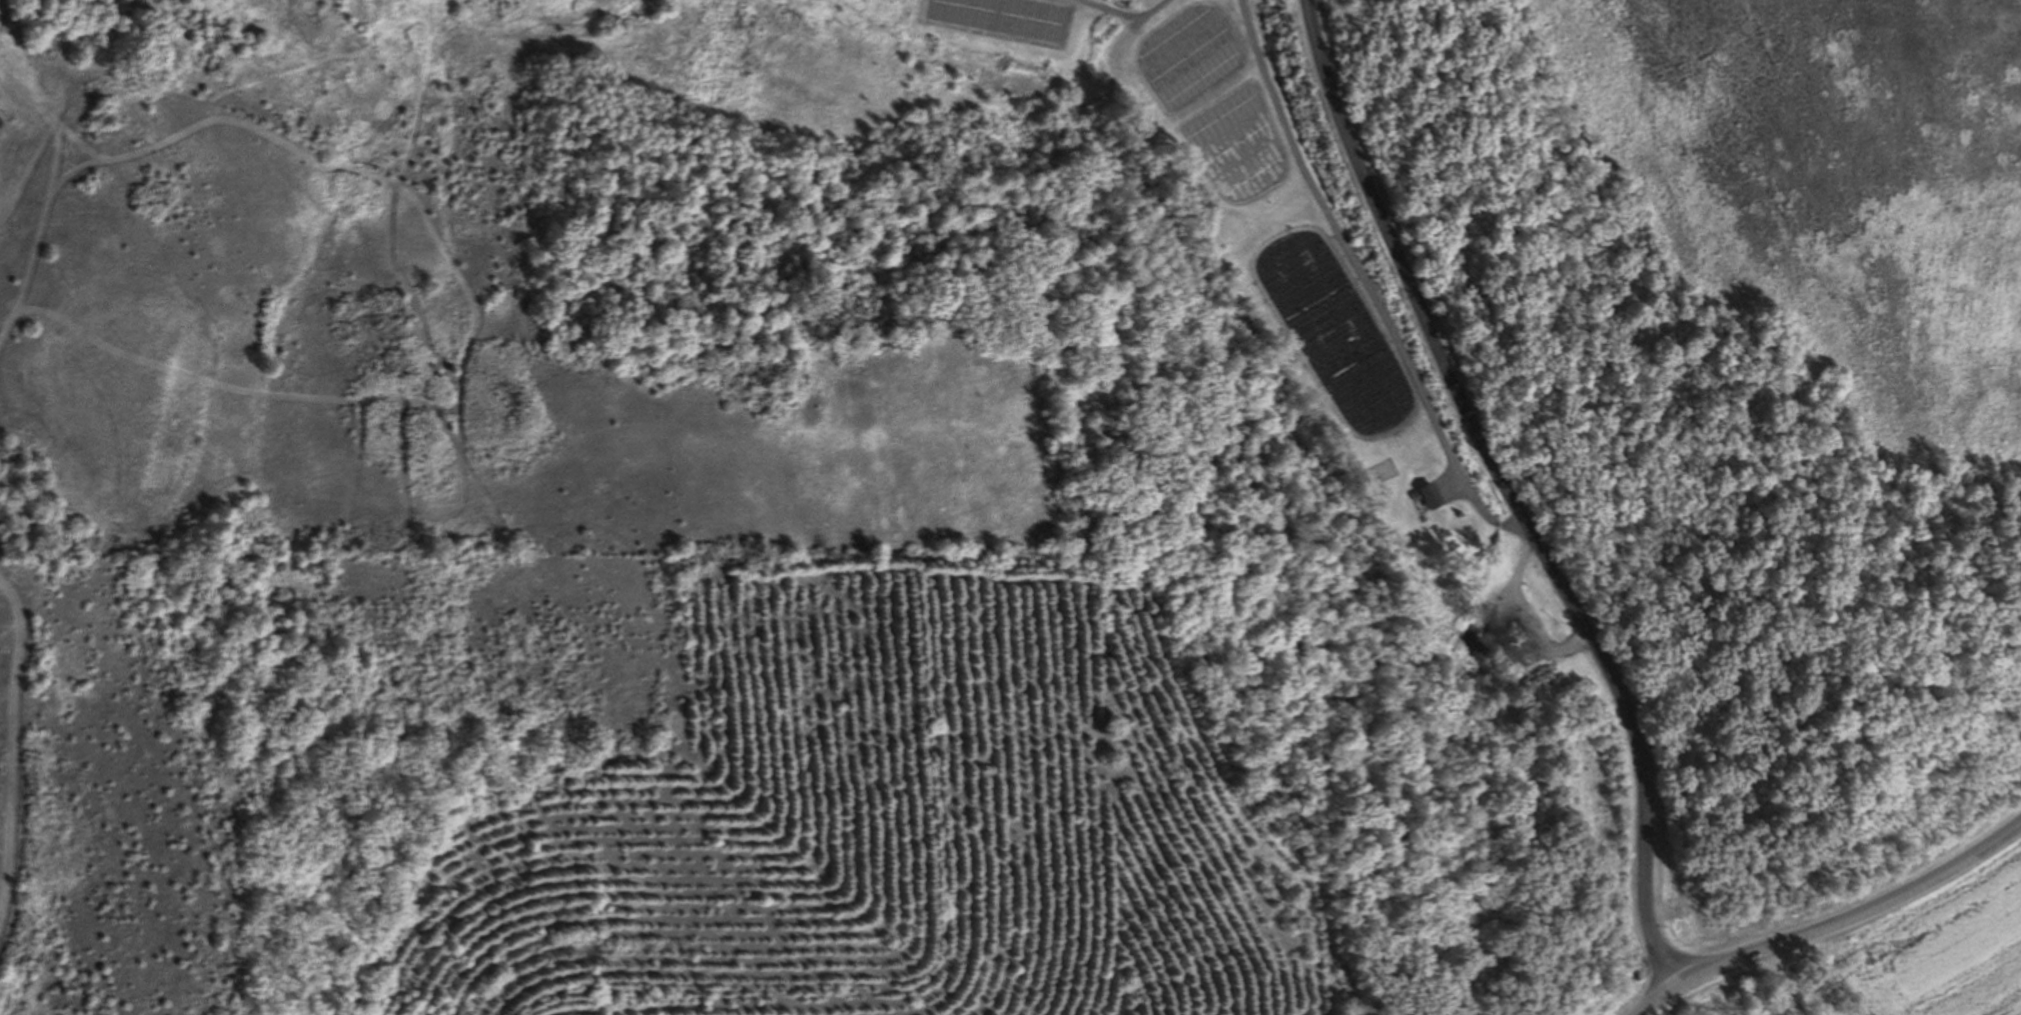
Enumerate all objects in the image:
building: (1344, 370)
road: (1519, 486)
building: (1434, 495)
road: (1858, 917)
road: (1659, 996)

